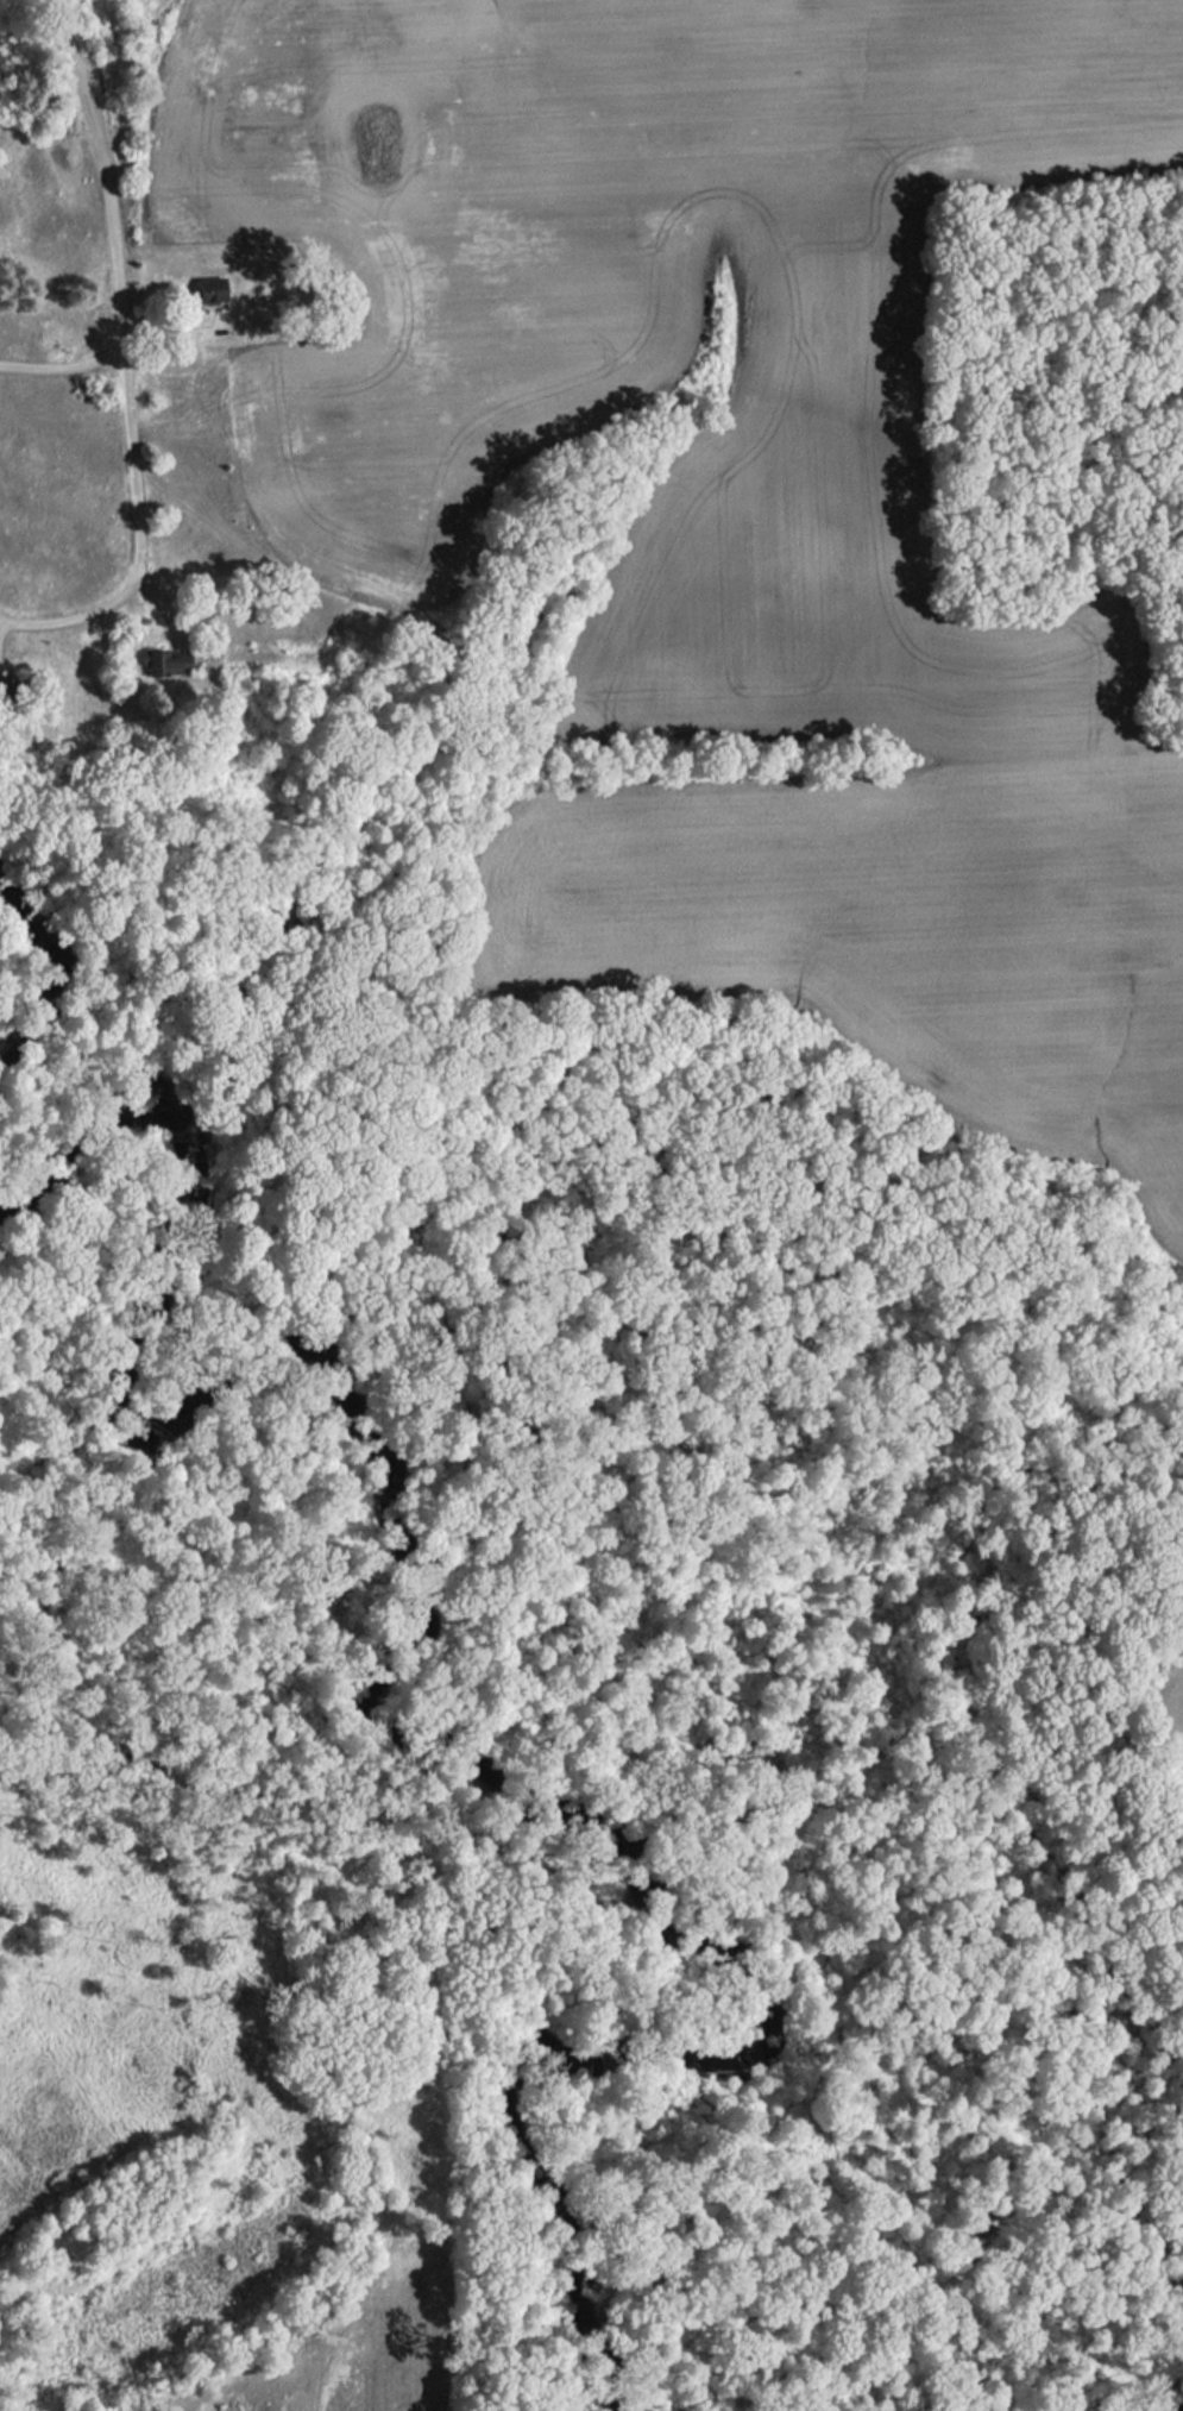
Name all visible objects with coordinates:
road: (106, 157)
building: (212, 289)
road: (136, 450)
building: (166, 660)
river: (396, 1683)
river: (1176, 2407)

